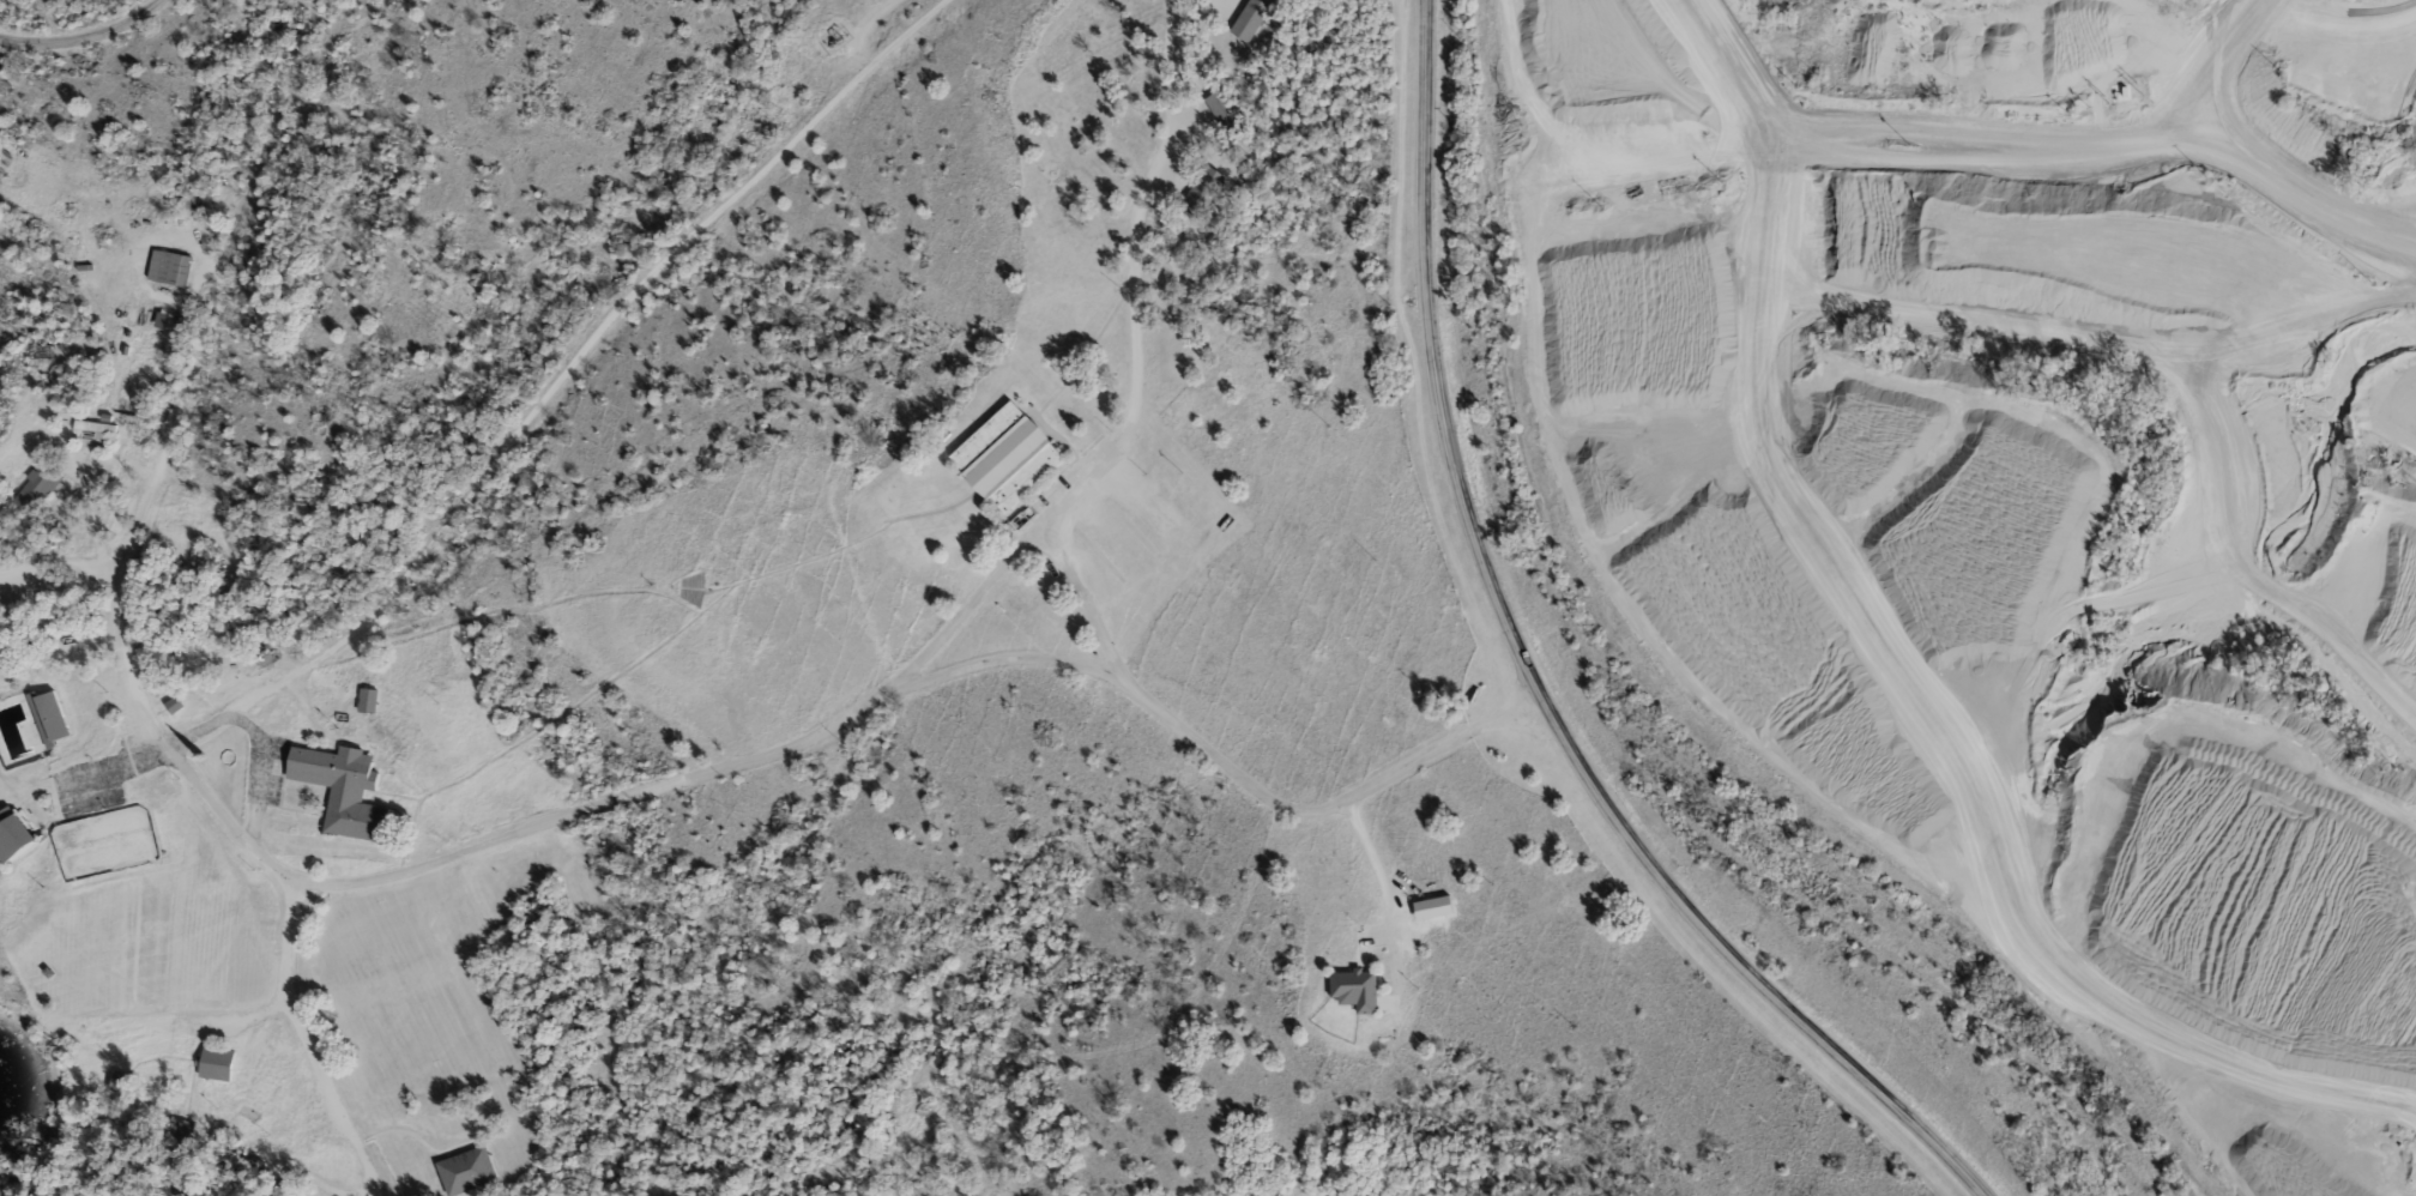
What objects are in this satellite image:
building: (1252, 19)
road: (80, 38)
road: (2201, 68)
building: (1227, 113)
road: (2046, 134)
building: (1204, 189)
building: (170, 268)
road: (554, 377)
building: (93, 427)
building: (1008, 458)
quarry: (2025, 485)
building: (37, 489)
road: (56, 562)
road: (114, 596)
road: (1083, 599)
road: (941, 632)
road: (1530, 676)
building: (370, 701)
building: (50, 718)
road: (1216, 760)
road: (119, 765)
building: (346, 791)
building: (14, 834)
road: (1376, 866)
building: (1358, 989)
road: (302, 1038)
building: (216, 1063)
building: (122, 1083)
building: (466, 1171)
road: (2408, 1179)

